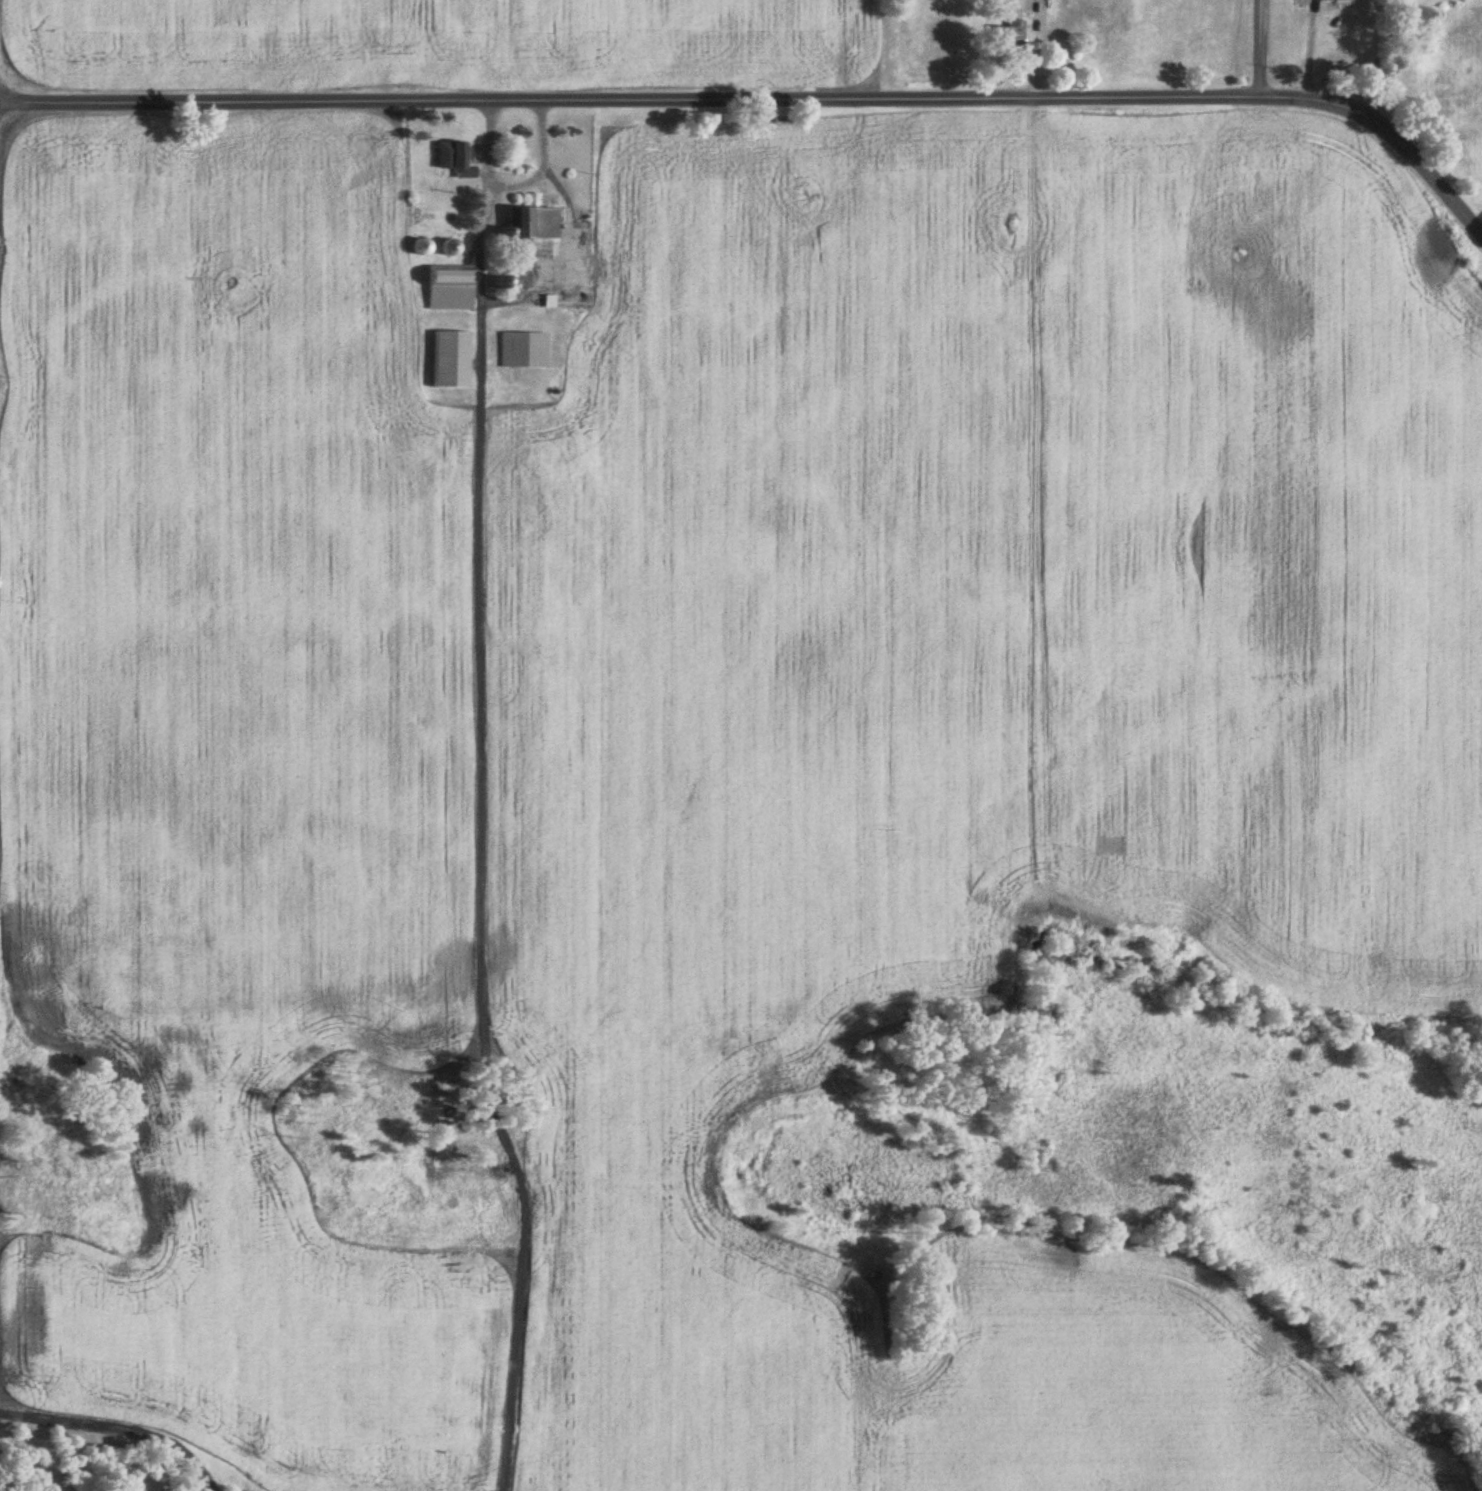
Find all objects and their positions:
building: (1341, 0)
building: (1093, 23)
building: (1010, 37)
road: (1261, 48)
road: (1309, 51)
road: (1387, 78)
road: (767, 101)
building: (456, 160)
road: (518, 183)
building: (428, 218)
building: (534, 233)
building: (422, 248)
building: (449, 249)
building: (451, 288)
road: (519, 294)
building: (524, 351)
building: (451, 360)

